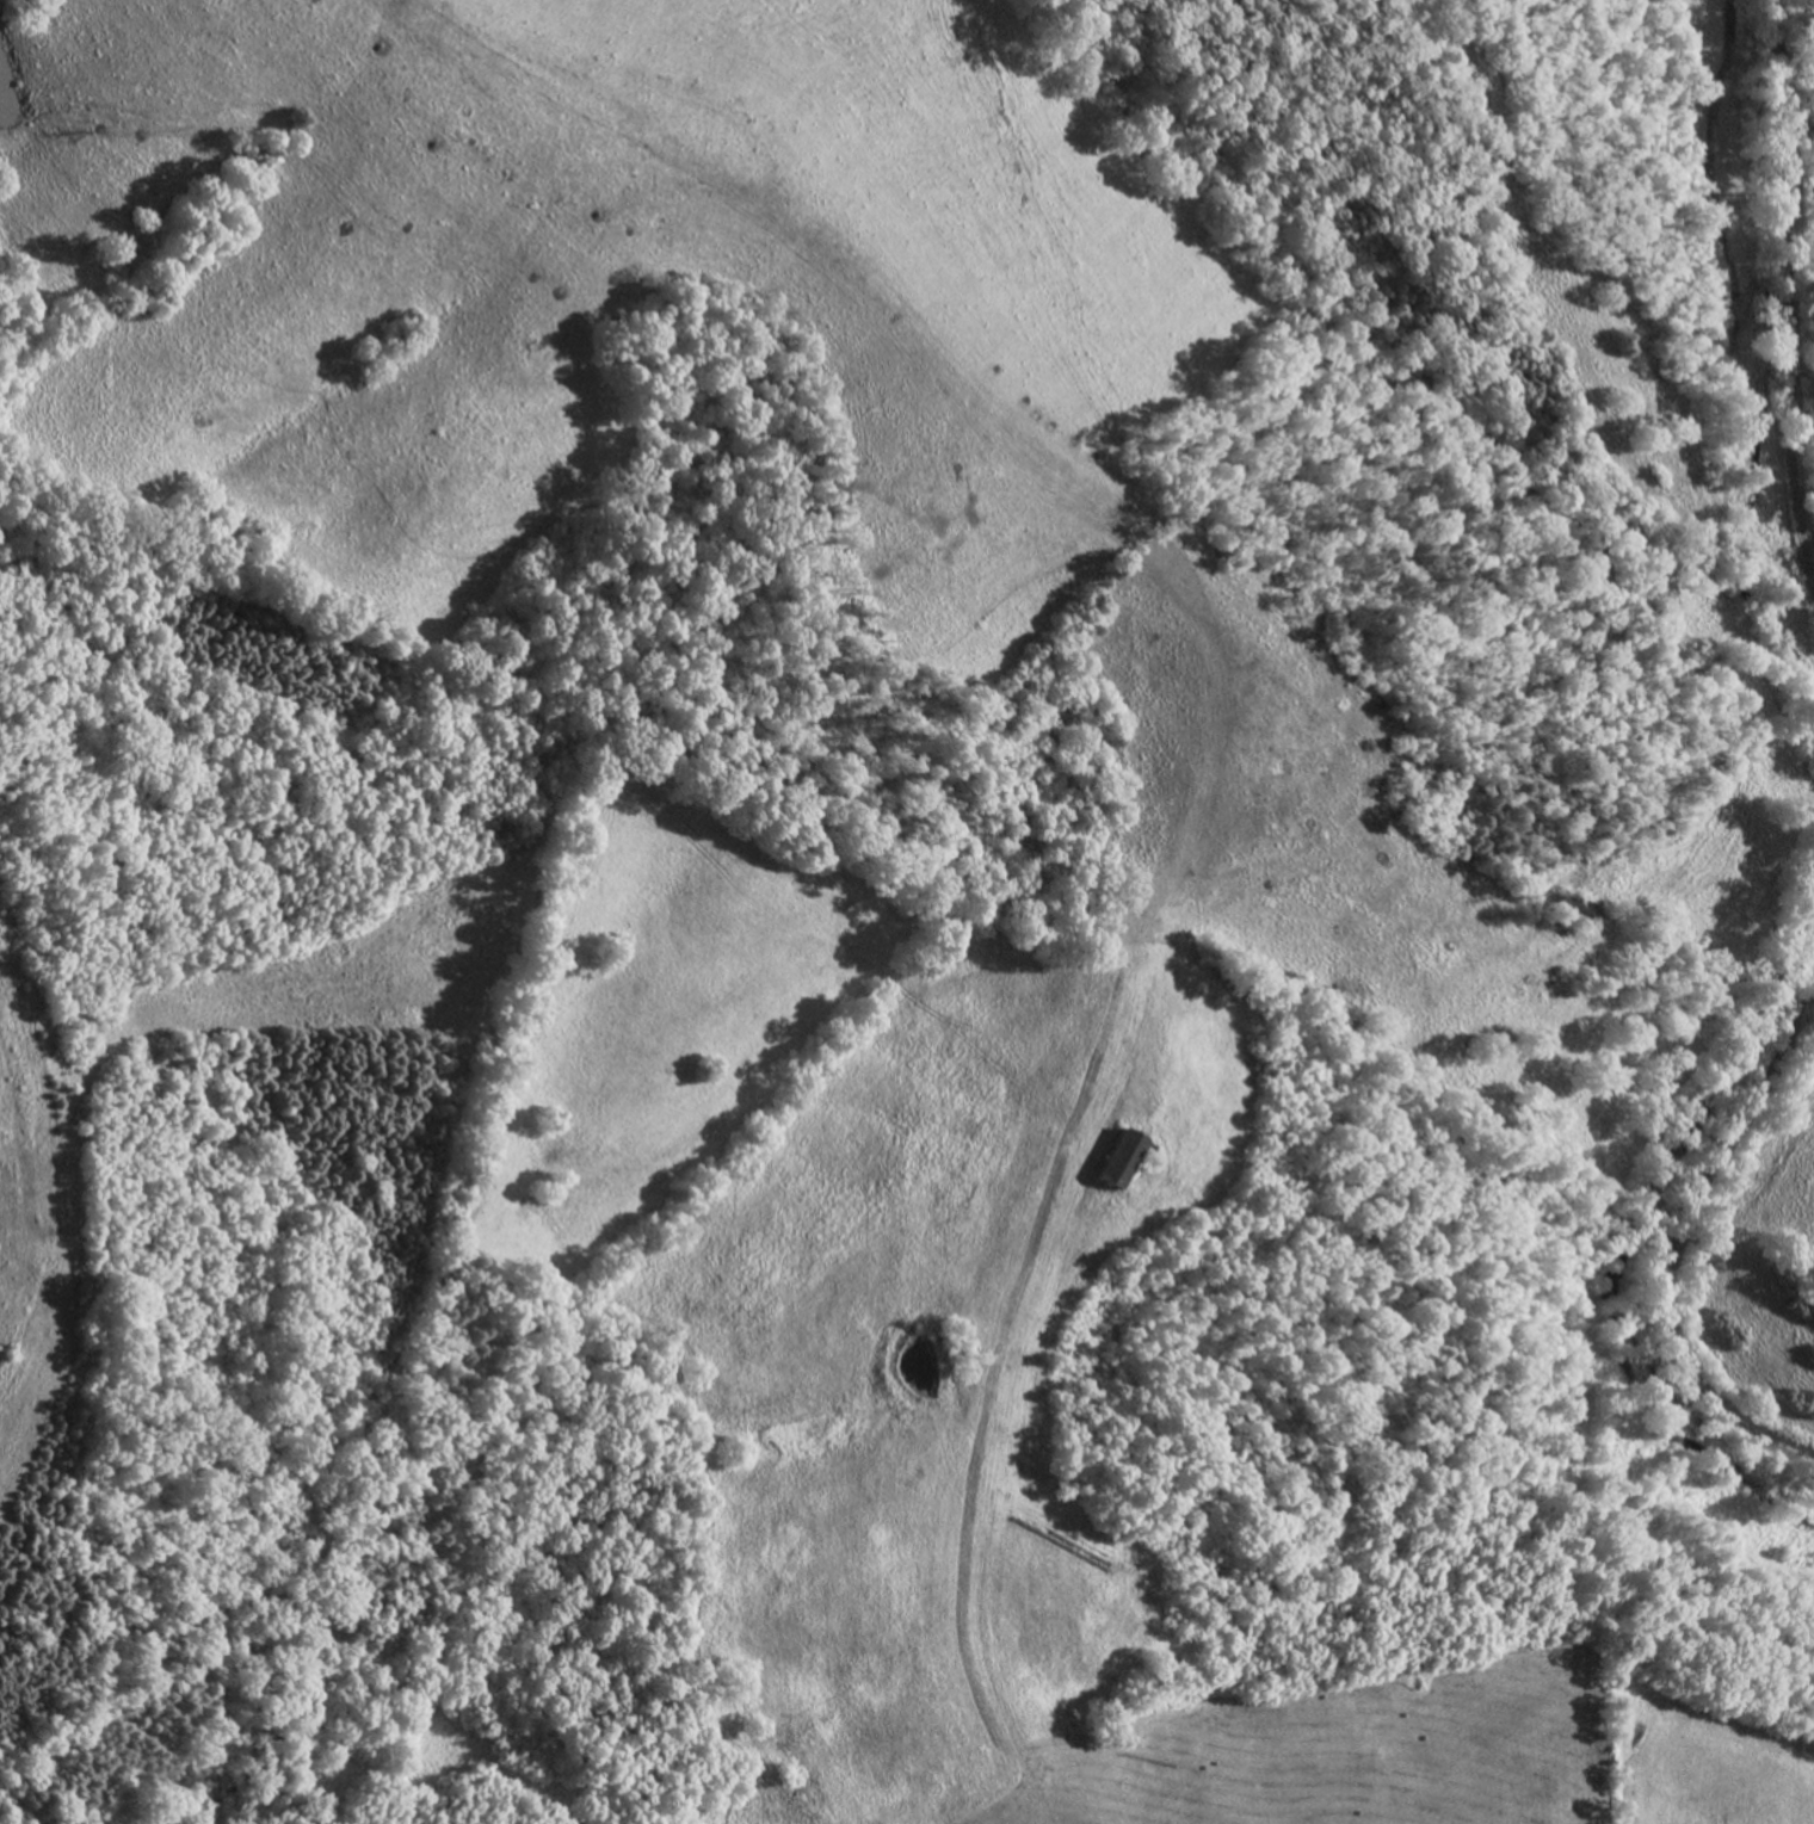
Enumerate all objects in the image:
road: (1790, 291)
building: (1129, 1160)
road: (1678, 1237)

